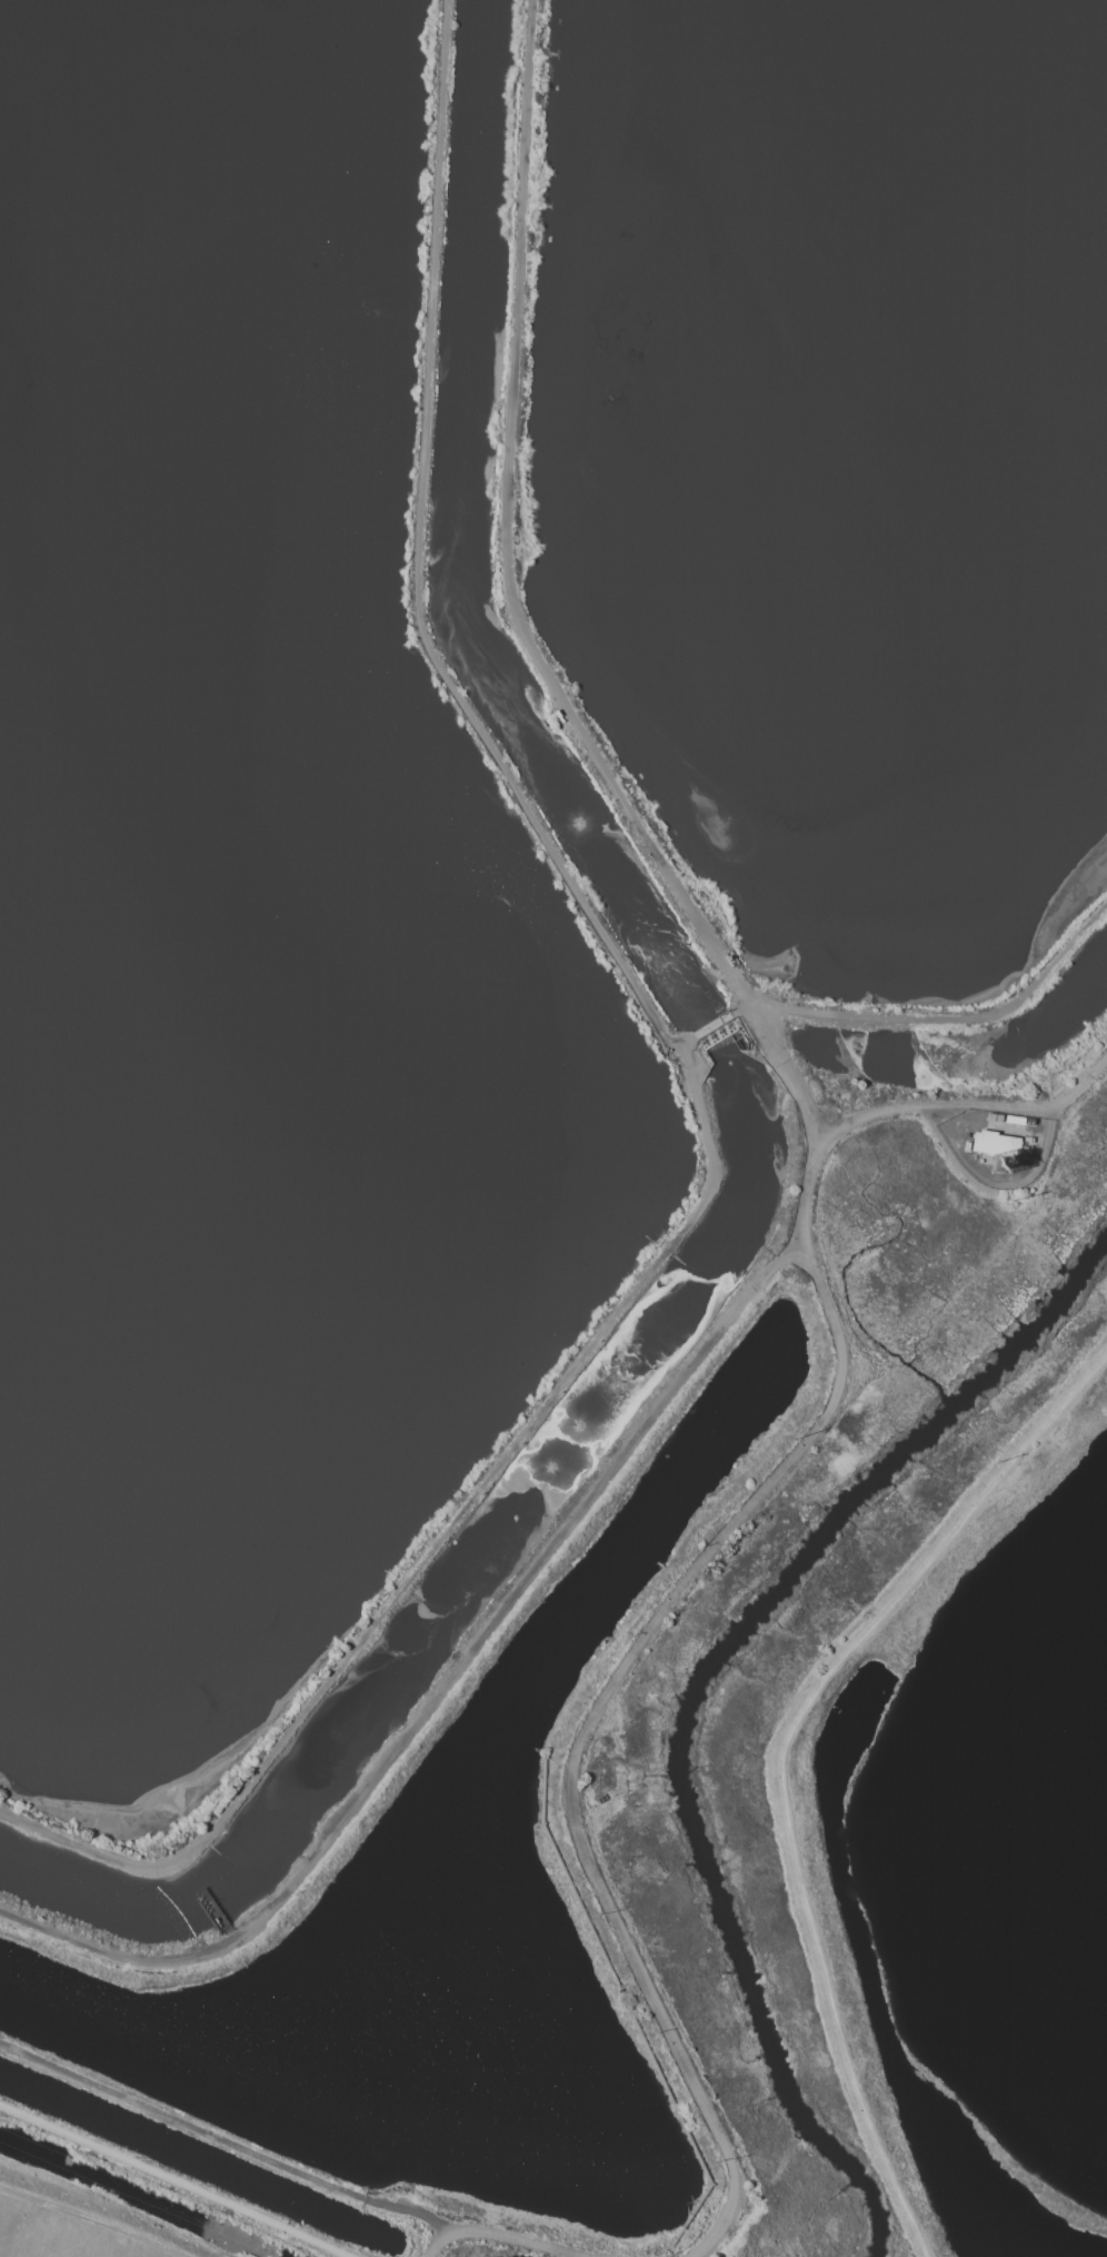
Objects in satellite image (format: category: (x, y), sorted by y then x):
road: (505, 534)
road: (442, 673)
road: (949, 1020)
building: (1007, 1150)
road: (569, 1528)
road: (432, 1544)
road: (582, 1729)
road: (781, 1758)
pier: (216, 1917)
road: (225, 2141)
road: (173, 2179)
road: (94, 2220)
landfill: (78, 2224)
road: (500, 2236)

